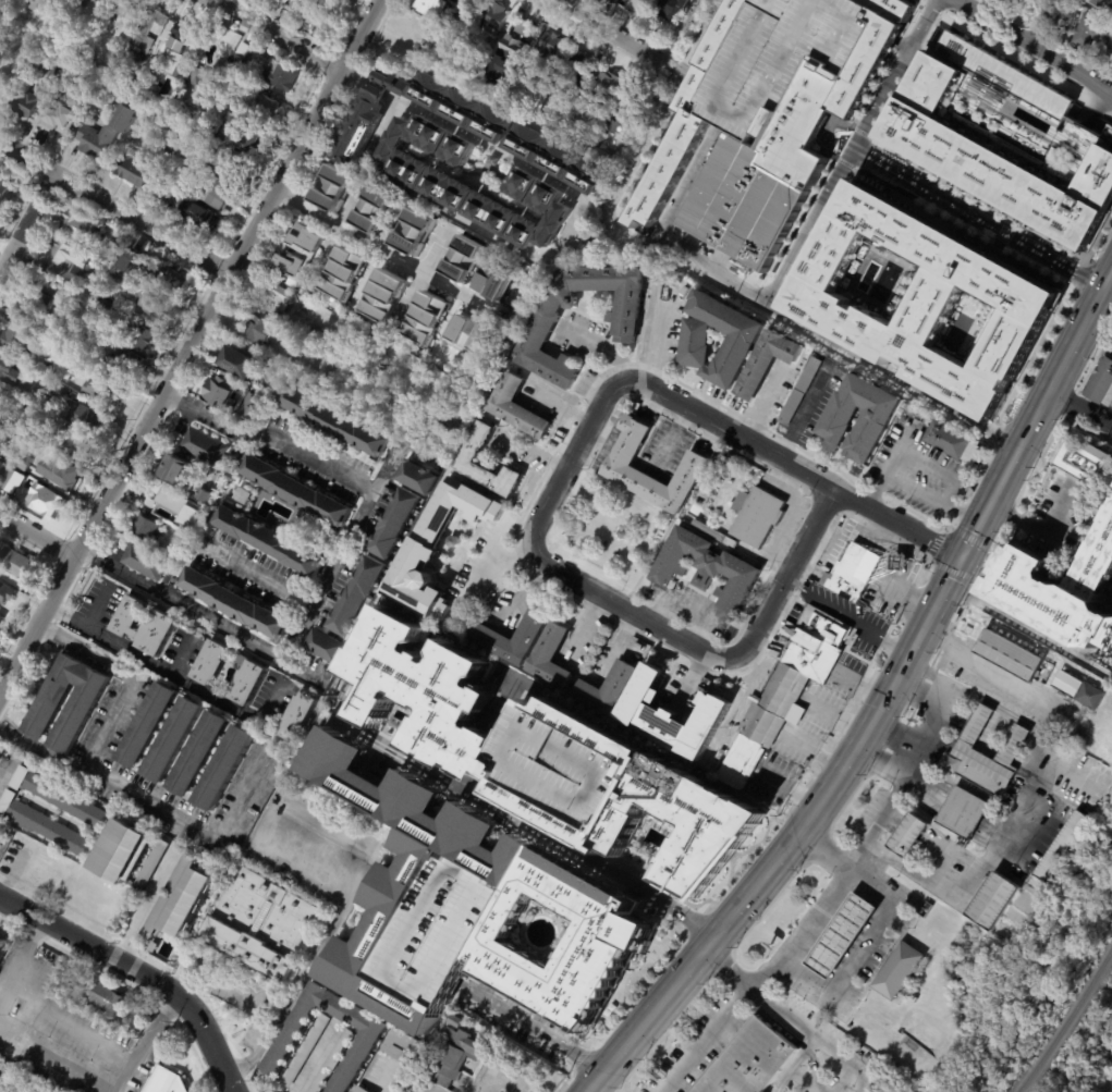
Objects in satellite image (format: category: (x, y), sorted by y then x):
building: (107, 1)
building: (614, 1)
road: (919, 1)
building: (1010, 2)
building: (32, 3)
building: (280, 3)
building: (636, 5)
building: (1102, 5)
building: (129, 7)
building: (432, 7)
road: (930, 8)
building: (669, 9)
building: (316, 12)
building: (494, 19)
road: (1040, 21)
building: (523, 27)
building: (150, 29)
road: (931, 29)
road: (611, 32)
road: (683, 32)
road: (278, 35)
building: (182, 36)
building: (1093, 37)
road: (696, 41)
building: (119, 45)
road: (1035, 45)
building: (548, 48)
road: (924, 50)
building: (870, 53)
road: (1012, 54)
building: (136, 57)
road: (912, 58)
building: (778, 60)
parking garage: (778, 60)
building: (239, 62)
road: (917, 62)
building: (503, 63)
building: (575, 71)
road: (912, 72)
building: (54, 74)
building: (281, 74)
building: (473, 75)
road: (355, 77)
road: (908, 79)
building: (197, 85)
building: (606, 85)
building: (541, 87)
road: (377, 89)
road: (902, 90)
building: (83, 94)
building: (566, 101)
building: (26, 103)
road: (1095, 105)
building: (267, 106)
road: (1096, 106)
building: (624, 109)
building: (460, 110)
building: (581, 111)
road: (1109, 112)
building: (366, 118)
road: (885, 119)
building: (53, 122)
building: (684, 123)
building: (106, 132)
building: (239, 132)
road: (862, 133)
building: (1004, 137)
building: (174, 146)
building: (194, 151)
building: (486, 160)
building: (553, 161)
road: (876, 164)
building: (229, 165)
building: (132, 169)
building: (178, 175)
building: (765, 175)
building: (432, 183)
building: (332, 186)
building: (3, 188)
building: (221, 193)
road: (978, 197)
building: (376, 208)
road: (111, 211)
building: (198, 216)
road: (1011, 220)
road: (24, 221)
building: (77, 226)
building: (414, 230)
road: (333, 231)
road: (1002, 232)
road: (1002, 233)
road: (1096, 237)
road: (998, 244)
road: (383, 249)
building: (300, 254)
road: (547, 255)
building: (124, 256)
building: (464, 257)
building: (63, 262)
road: (1079, 269)
road: (787, 271)
building: (343, 273)
building: (122, 274)
building: (166, 274)
road: (418, 275)
building: (493, 282)
building: (383, 295)
building: (277, 297)
building: (925, 298)
building: (32, 303)
building: (156, 307)
building: (307, 308)
building: (72, 309)
building: (425, 319)
building: (538, 330)
building: (262, 331)
building: (468, 333)
building: (140, 336)
building: (14, 340)
road: (659, 340)
building: (738, 341)
road: (188, 342)
road: (603, 347)
building: (81, 353)
building: (46, 355)
building: (125, 363)
building: (242, 363)
building: (272, 363)
building: (74, 364)
building: (767, 364)
building: (9, 369)
road: (893, 381)
building: (1101, 382)
building: (272, 384)
road: (610, 390)
building: (798, 391)
building: (102, 393)
building: (222, 393)
building: (0, 395)
building: (35, 398)
building: (0, 400)
building: (28, 408)
building: (513, 408)
building: (82, 412)
road: (804, 413)
road: (1080, 414)
building: (873, 417)
building: (328, 421)
building: (4, 430)
building: (21, 430)
building: (36, 432)
building: (13, 435)
road: (671, 437)
building: (952, 442)
building: (74, 443)
building: (205, 447)
building: (467, 456)
building: (1083, 459)
building: (21, 462)
road: (384, 462)
building: (616, 464)
building: (1, 467)
building: (180, 469)
building: (58, 474)
road: (903, 475)
building: (12, 478)
building: (413, 478)
building: (191, 491)
building: (297, 491)
building: (969, 492)
building: (169, 494)
building: (243, 496)
road: (365, 500)
building: (46, 502)
road: (967, 513)
building: (758, 517)
building: (192, 523)
building: (393, 524)
road: (896, 524)
building: (145, 528)
road: (1039, 529)
park: (613, 531)
building: (621, 535)
building: (713, 536)
road: (35, 539)
building: (268, 540)
building: (452, 541)
building: (424, 544)
road: (968, 544)
traffic signals: (962, 559)
building: (903, 562)
gas station: (903, 562)
building: (16, 563)
building: (146, 563)
road: (487, 568)
building: (706, 570)
building: (853, 574)
building: (1059, 590)
building: (7, 593)
building: (354, 597)
road: (95, 604)
building: (236, 604)
road: (199, 613)
road: (847, 615)
building: (1, 619)
road: (1017, 621)
building: (823, 625)
building: (145, 627)
building: (530, 629)
road: (298, 630)
building: (809, 640)
building: (325, 649)
road: (179, 652)
building: (1007, 654)
building: (550, 657)
building: (807, 661)
building: (210, 663)
road: (579, 671)
road: (130, 675)
road: (171, 676)
road: (692, 679)
road: (863, 680)
building: (247, 683)
building: (1066, 684)
building: (608, 688)
building: (783, 692)
building: (1090, 696)
building: (48, 708)
building: (673, 713)
road: (839, 715)
building: (298, 719)
building: (762, 725)
building: (148, 726)
building: (174, 741)
building: (967, 752)
building: (199, 756)
building: (546, 757)
road: (4, 761)
building: (742, 761)
building: (225, 770)
building: (20, 778)
road: (789, 789)
building: (65, 800)
building: (7, 801)
building: (963, 811)
road: (158, 812)
building: (0, 824)
building: (50, 830)
building: (907, 834)
road: (547, 836)
building: (1064, 847)
building: (123, 855)
building: (150, 866)
building: (992, 900)
road: (143, 901)
building: (188, 901)
road: (823, 907)
building: (468, 908)
building: (262, 925)
building: (840, 936)
gas station: (840, 936)
building: (2, 942)
road: (319, 947)
road: (858, 948)
road: (699, 949)
road: (721, 969)
road: (138, 972)
building: (896, 972)
road: (4, 980)
road: (243, 986)
building: (108, 1001)
road: (38, 1005)
road: (778, 1009)
railway: (1067, 1018)
building: (456, 1021)
road: (529, 1028)
road: (702, 1039)
road: (143, 1040)
road: (822, 1043)
building: (365, 1044)
building: (403, 1045)
park: (1084, 1048)
building: (303, 1052)
building: (455, 1056)
road: (313, 1057)
building: (330, 1062)
building: (749, 1062)
road: (57, 1063)
road: (794, 1064)
road: (499, 1076)
road: (382, 1078)
building: (166, 1081)
road: (431, 1087)
building: (363, 1089)

